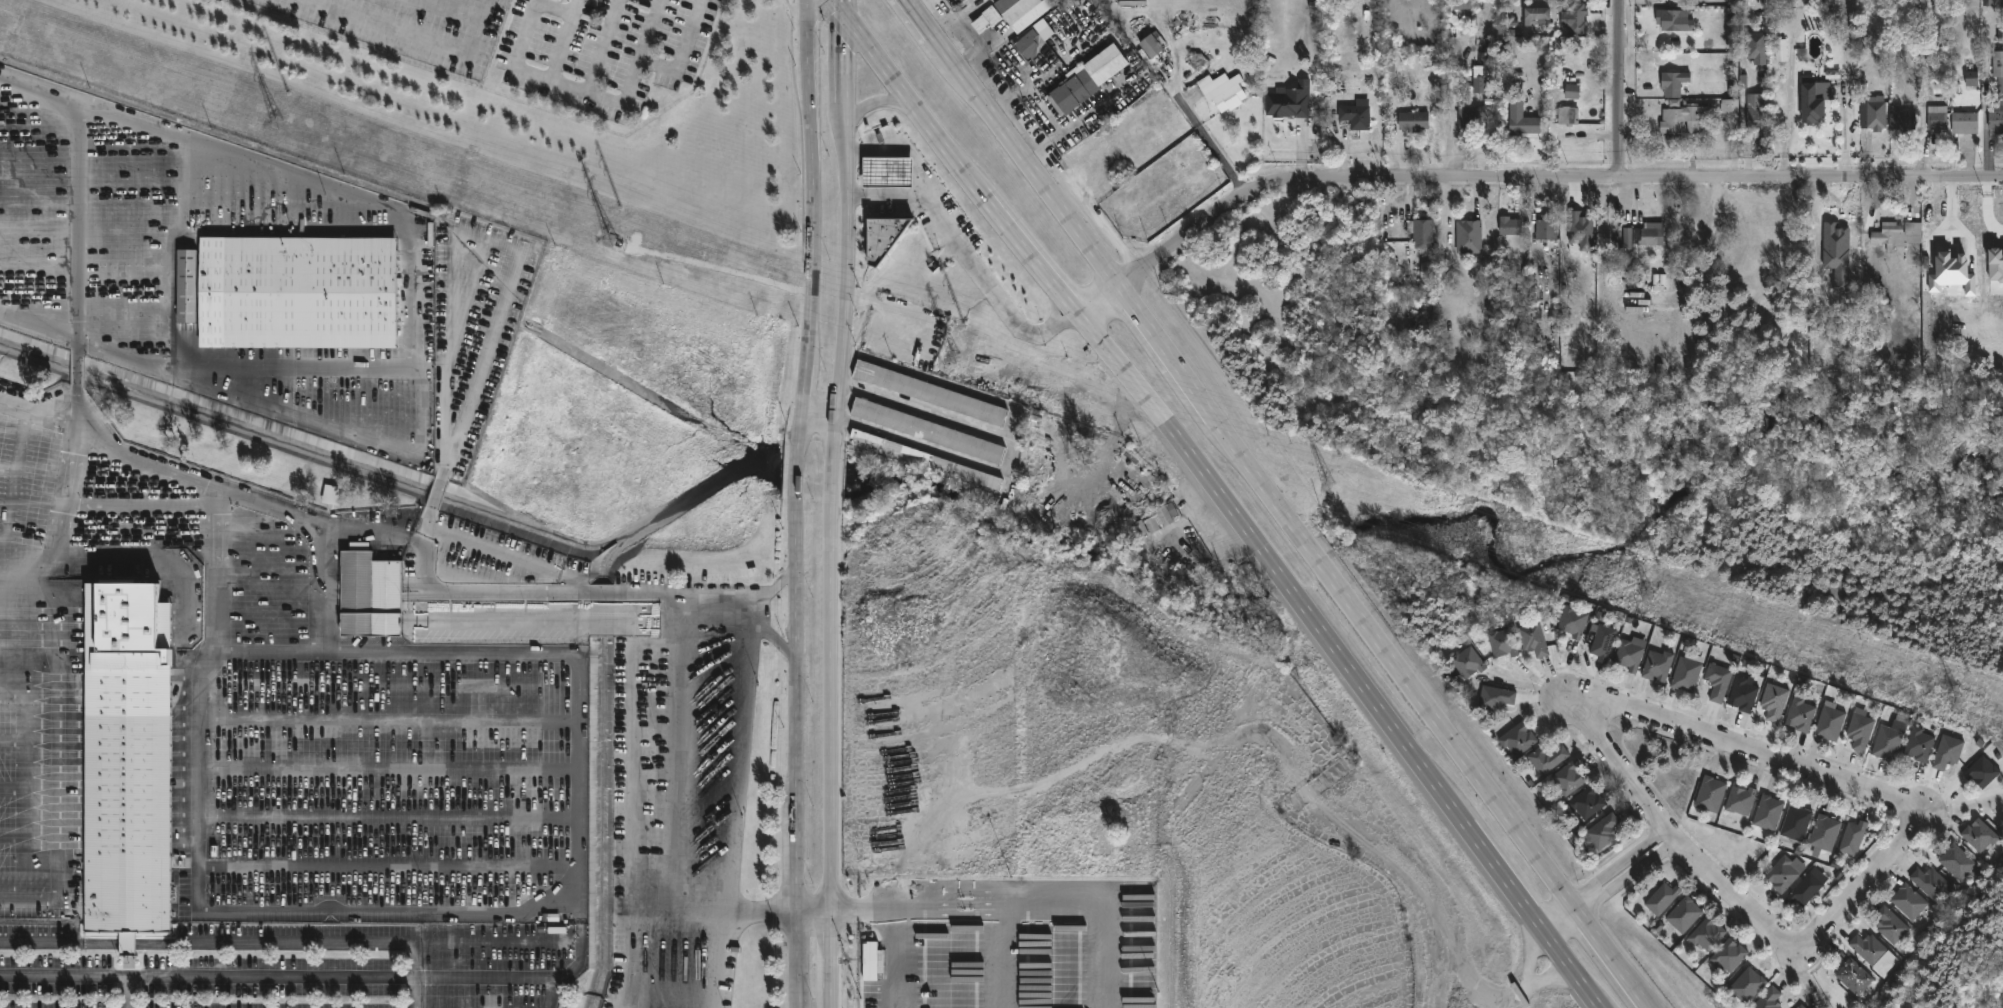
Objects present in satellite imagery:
road: (846, 7)
building: (1015, 8)
building: (1538, 13)
road: (1819, 13)
traffic signals: (847, 15)
building: (1578, 18)
building: (986, 19)
building: (1674, 21)
building: (1152, 44)
road: (603, 45)
building: (1033, 45)
building: (1757, 46)
building: (1780, 50)
parking lot: (603, 51)
building: (1971, 78)
building: (1087, 79)
building: (1675, 83)
building: (1479, 84)
road: (1616, 90)
building: (2000, 90)
building: (1223, 91)
building: (1571, 91)
building: (1815, 99)
road: (619, 100)
road: (883, 101)
building: (1289, 101)
road: (1045, 106)
building: (1726, 106)
building: (1874, 113)
building: (1757, 114)
building: (1568, 115)
building: (1356, 116)
building: (1472, 117)
building: (1937, 117)
building: (1684, 118)
building: (1522, 119)
building: (1902, 119)
building: (1414, 121)
building: (1965, 122)
power tower: (274, 128)
road: (1214, 149)
building: (887, 171)
gas station: (887, 171)
road: (82, 180)
road: (1518, 181)
road: (815, 213)
building: (1511, 225)
building: (1547, 226)
building: (1831, 228)
road: (850, 230)
building: (1581, 230)
building: (1421, 231)
building: (1898, 234)
building: (884, 236)
building: (1469, 236)
road: (484, 238)
building: (1639, 238)
power tower: (610, 245)
road: (967, 257)
building: (1833, 261)
building: (1995, 265)
building: (1426, 272)
building: (1952, 273)
road: (415, 275)
building: (185, 285)
building: (297, 291)
road: (39, 325)
building: (424, 342)
power tower: (954, 360)
road: (77, 368)
building: (929, 393)
road: (76, 402)
road: (38, 404)
building: (1392, 404)
road: (925, 410)
road: (818, 418)
building: (927, 431)
road: (1012, 437)
road: (797, 462)
building: (967, 473)
park: (1704, 474)
road: (831, 491)
road: (437, 494)
power tower: (1329, 494)
building: (332, 495)
road: (1227, 500)
road: (1279, 503)
road: (71, 515)
building: (1160, 517)
road: (427, 520)
building: (359, 546)
road: (545, 556)
road: (772, 590)
building: (370, 593)
power tower: (1647, 606)
building: (1574, 621)
road: (773, 637)
building: (1533, 639)
road: (633, 642)
building: (1503, 642)
building: (1603, 643)
road: (267, 649)
road: (376, 650)
building: (1630, 654)
building: (1468, 661)
building: (1659, 664)
building: (1687, 674)
building: (1720, 680)
building: (1744, 694)
building: (1497, 696)
building: (1774, 701)
power tower: (1953, 710)
building: (1800, 715)
building: (1830, 723)
building: (1860, 731)
building: (1519, 739)
road: (1748, 742)
building: (1888, 743)
building: (1920, 745)
building: (1948, 751)
road: (798, 753)
building: (126, 757)
building: (1549, 757)
building: (1983, 771)
road: (831, 773)
road: (681, 776)
building: (1570, 778)
building: (1711, 794)
building: (1742, 799)
building: (1588, 802)
building: (1769, 812)
building: (1797, 823)
building: (1604, 830)
road: (1673, 833)
building: (1824, 834)
building: (1980, 835)
building: (1854, 836)
building: (1960, 861)
building: (1785, 872)
road: (1605, 875)
road: (1861, 878)
building: (1931, 882)
road: (1613, 885)
road: (196, 886)
building: (1807, 887)
building: (1663, 898)
road: (1023, 900)
building: (1910, 900)
road: (815, 914)
building: (1685, 914)
building: (1892, 925)
building: (873, 933)
building: (1708, 933)
road: (327, 941)
building: (1874, 952)
building: (1730, 954)
road: (894, 958)
road: (632, 959)
road: (711, 960)
building: (872, 961)
parking lot: (288, 965)
road: (415, 974)
building: (1855, 976)
road: (207, 978)
building: (1748, 985)
road: (127, 993)
building: (1769, 999)
building: (1803, 1006)
railway: (2001, 1006)

